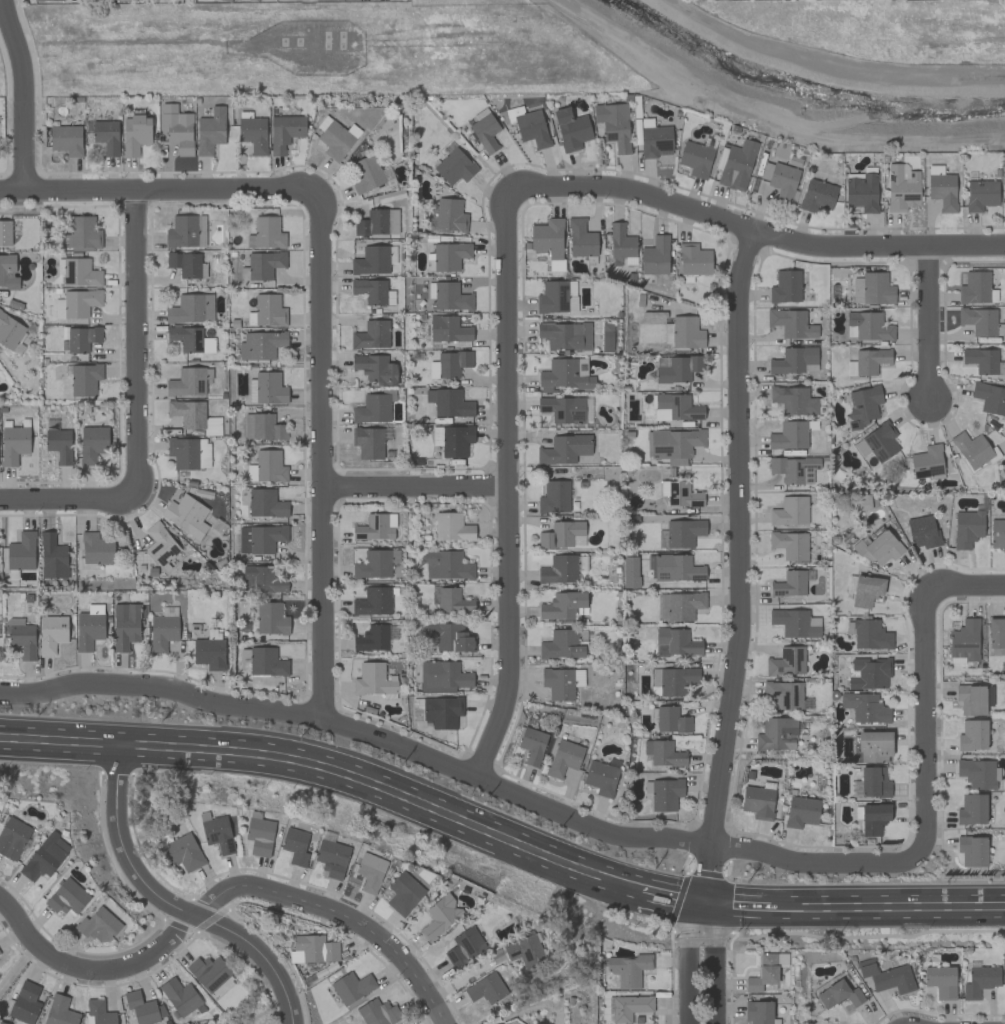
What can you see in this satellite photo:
building: (49, 0)
road: (826, 68)
road: (20, 95)
building: (614, 125)
building: (176, 128)
building: (532, 128)
building: (571, 129)
building: (210, 131)
building: (284, 132)
building: (485, 132)
building: (253, 133)
building: (135, 134)
building: (107, 136)
building: (66, 139)
building: (337, 140)
building: (655, 141)
building: (695, 159)
building: (737, 165)
building: (454, 167)
building: (368, 174)
building: (783, 182)
building: (902, 188)
road: (155, 191)
building: (942, 191)
building: (861, 192)
building: (1003, 192)
building: (980, 195)
building: (818, 196)
building: (450, 215)
building: (377, 223)
road: (757, 229)
building: (186, 231)
building: (5, 232)
building: (84, 233)
building: (266, 233)
building: (548, 237)
building: (581, 239)
building: (621, 241)
building: (447, 256)
building: (655, 256)
building: (371, 260)
building: (694, 260)
building: (185, 264)
building: (264, 264)
building: (555, 265)
building: (8, 271)
building: (80, 273)
building: (785, 287)
building: (974, 288)
building: (872, 289)
building: (370, 290)
building: (554, 296)
building: (451, 297)
building: (76, 303)
building: (191, 308)
building: (269, 310)
building: (979, 321)
building: (791, 323)
road: (926, 324)
building: (869, 326)
building: (448, 329)
building: (9, 331)
building: (683, 332)
building: (372, 335)
building: (565, 335)
building: (82, 338)
road: (134, 345)
building: (261, 345)
building: (793, 360)
building: (981, 360)
building: (867, 362)
building: (449, 364)
building: (676, 368)
building: (375, 369)
building: (563, 376)
building: (85, 379)
building: (189, 381)
building: (269, 388)
building: (989, 398)
building: (794, 400)
building: (448, 403)
building: (862, 405)
building: (374, 407)
building: (679, 407)
building: (562, 409)
building: (661, 414)
building: (193, 416)
building: (266, 427)
building: (789, 436)
building: (452, 440)
building: (368, 442)
building: (880, 442)
building: (93, 443)
building: (14, 444)
building: (59, 444)
building: (673, 444)
building: (564, 449)
building: (972, 449)
building: (189, 453)
road: (319, 455)
building: (927, 462)
building: (267, 467)
building: (794, 469)
road: (503, 484)
road: (412, 486)
building: (680, 494)
building: (554, 497)
road: (64, 499)
building: (266, 503)
building: (790, 511)
building: (186, 515)
building: (452, 527)
building: (373, 528)
building: (967, 528)
building: (922, 532)
building: (683, 533)
building: (997, 534)
building: (562, 535)
building: (260, 538)
building: (661, 539)
building: (160, 544)
building: (790, 544)
building: (877, 548)
building: (96, 549)
road: (737, 549)
building: (21, 552)
building: (52, 556)
building: (375, 563)
building: (447, 565)
building: (674, 568)
building: (559, 569)
building: (630, 572)
building: (261, 579)
building: (789, 584)
road: (968, 585)
building: (865, 590)
building: (451, 600)
building: (373, 602)
building: (562, 605)
building: (683, 606)
building: (271, 619)
building: (795, 623)
building: (125, 626)
building: (88, 630)
building: (163, 632)
building: (51, 633)
building: (996, 633)
building: (868, 634)
building: (449, 637)
building: (372, 638)
building: (23, 640)
building: (966, 641)
building: (675, 642)
building: (561, 645)
building: (210, 653)
building: (266, 662)
building: (786, 662)
building: (868, 673)
building: (442, 677)
building: (374, 679)
building: (676, 680)
building: (558, 683)
building: (784, 695)
building: (989, 696)
building: (971, 699)
building: (864, 707)
road: (240, 709)
building: (442, 712)
road: (926, 717)
building: (670, 720)
building: (776, 734)
building: (972, 735)
building: (532, 746)
building: (871, 746)
building: (662, 753)
building: (564, 758)
road: (331, 769)
building: (976, 773)
building: (601, 778)
building: (874, 782)
building: (664, 793)
building: (758, 802)
building: (971, 809)
building: (801, 812)
building: (874, 818)
building: (218, 834)
building: (259, 834)
building: (12, 837)
road: (695, 845)
building: (295, 846)
building: (972, 851)
building: (183, 852)
building: (45, 857)
building: (332, 857)
building: (370, 872)
road: (221, 894)
building: (403, 894)
building: (67, 897)
road: (669, 898)
road: (170, 903)
road: (886, 905)
road: (744, 906)
traffic signals: (695, 907)
road: (707, 907)
traffic signals: (720, 907)
building: (440, 916)
building: (100, 926)
road: (690, 945)
road: (719, 946)
building: (464, 947)
building: (315, 948)
building: (525, 950)
building: (295, 957)
road: (15, 964)
building: (628, 969)
building: (766, 971)
building: (208, 972)
building: (887, 976)
building: (941, 981)
building: (980, 981)
building: (351, 987)
building: (485, 989)
building: (839, 994)
building: (180, 996)
building: (25, 1002)
building: (629, 1007)
building: (143, 1008)
building: (60, 1011)
building: (100, 1012)
building: (377, 1012)
building: (758, 1012)

